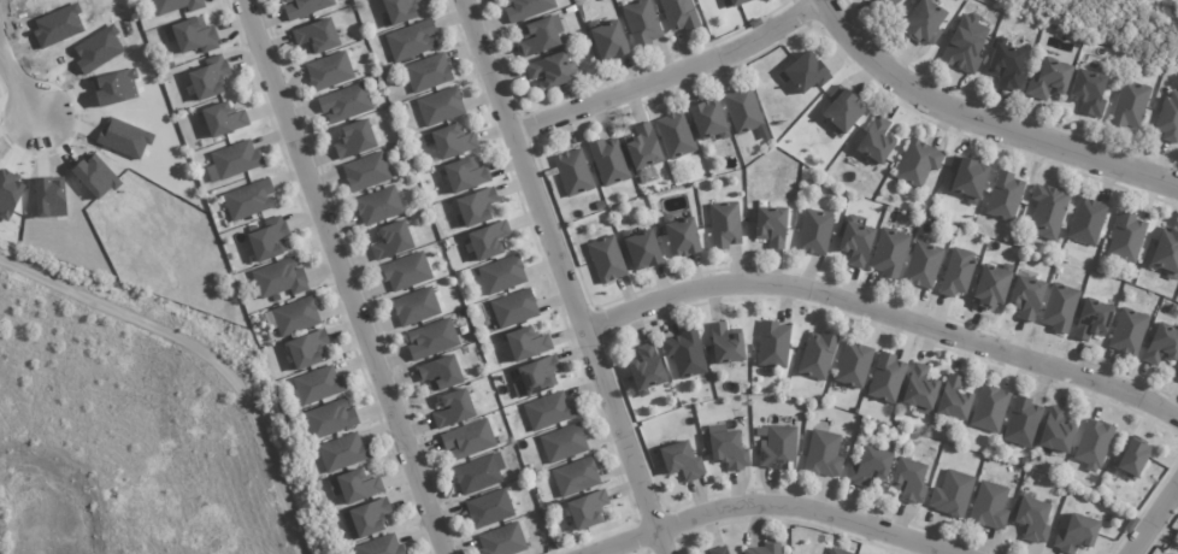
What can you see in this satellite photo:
building: (28, 0)
building: (736, 2)
building: (889, 4)
building: (175, 6)
building: (304, 7)
building: (526, 8)
building: (397, 11)
building: (678, 14)
building: (641, 23)
building: (923, 23)
building: (58, 25)
building: (316, 35)
building: (538, 35)
building: (192, 36)
building: (411, 40)
building: (607, 40)
building: (964, 45)
building: (98, 49)
building: (1005, 66)
building: (550, 70)
building: (329, 71)
building: (426, 72)
building: (803, 73)
road: (672, 76)
building: (208, 77)
building: (1048, 79)
building: (114, 88)
road: (14, 89)
building: (1088, 92)
building: (343, 104)
building: (1129, 104)
building: (438, 106)
building: (742, 111)
building: (841, 111)
building: (1168, 117)
building: (223, 119)
building: (708, 120)
road: (982, 125)
building: (675, 135)
building: (354, 138)
building: (874, 140)
building: (452, 141)
building: (642, 148)
building: (232, 160)
building: (608, 161)
building: (915, 163)
building: (365, 172)
building: (572, 172)
building: (465, 175)
building: (966, 178)
building: (1002, 196)
building: (248, 200)
building: (377, 206)
building: (475, 207)
building: (1047, 212)
building: (1085, 222)
building: (724, 225)
building: (770, 226)
building: (814, 231)
building: (681, 237)
building: (1125, 237)
building: (267, 240)
building: (487, 240)
building: (390, 241)
building: (854, 243)
building: (641, 249)
building: (1165, 249)
building: (888, 253)
building: (606, 259)
building: (921, 265)
building: (405, 271)
building: (956, 271)
building: (501, 275)
road: (564, 276)
road: (341, 277)
building: (278, 278)
building: (989, 288)
building: (1025, 296)
building: (414, 306)
building: (1058, 307)
building: (513, 308)
road: (885, 313)
building: (295, 317)
building: (1090, 319)
building: (1126, 331)
building: (431, 340)
building: (525, 343)
building: (725, 343)
building: (772, 344)
building: (1161, 344)
building: (306, 349)
road: (206, 352)
building: (684, 353)
building: (817, 355)
building: (853, 365)
building: (644, 370)
building: (438, 373)
building: (535, 377)
building: (1177, 377)
building: (885, 378)
building: (317, 385)
building: (918, 389)
building: (953, 399)
building: (453, 408)
building: (988, 408)
building: (548, 411)
building: (329, 419)
building: (1021, 422)
building: (1055, 431)
building: (467, 440)
building: (563, 443)
building: (1091, 444)
building: (726, 448)
building: (777, 448)
building: (342, 453)
building: (823, 454)
building: (1131, 458)
building: (681, 461)
building: (868, 466)
building: (476, 475)
building: (575, 477)
building: (908, 481)
building: (354, 487)
building: (950, 494)
building: (989, 506)
building: (488, 508)
road: (764, 508)
building: (587, 509)
building: (365, 519)
building: (1031, 519)
road: (1153, 519)
building: (1074, 534)
building: (501, 540)
building: (379, 547)
building: (764, 548)
building: (719, 550)
building: (836, 552)
road: (929, 553)

